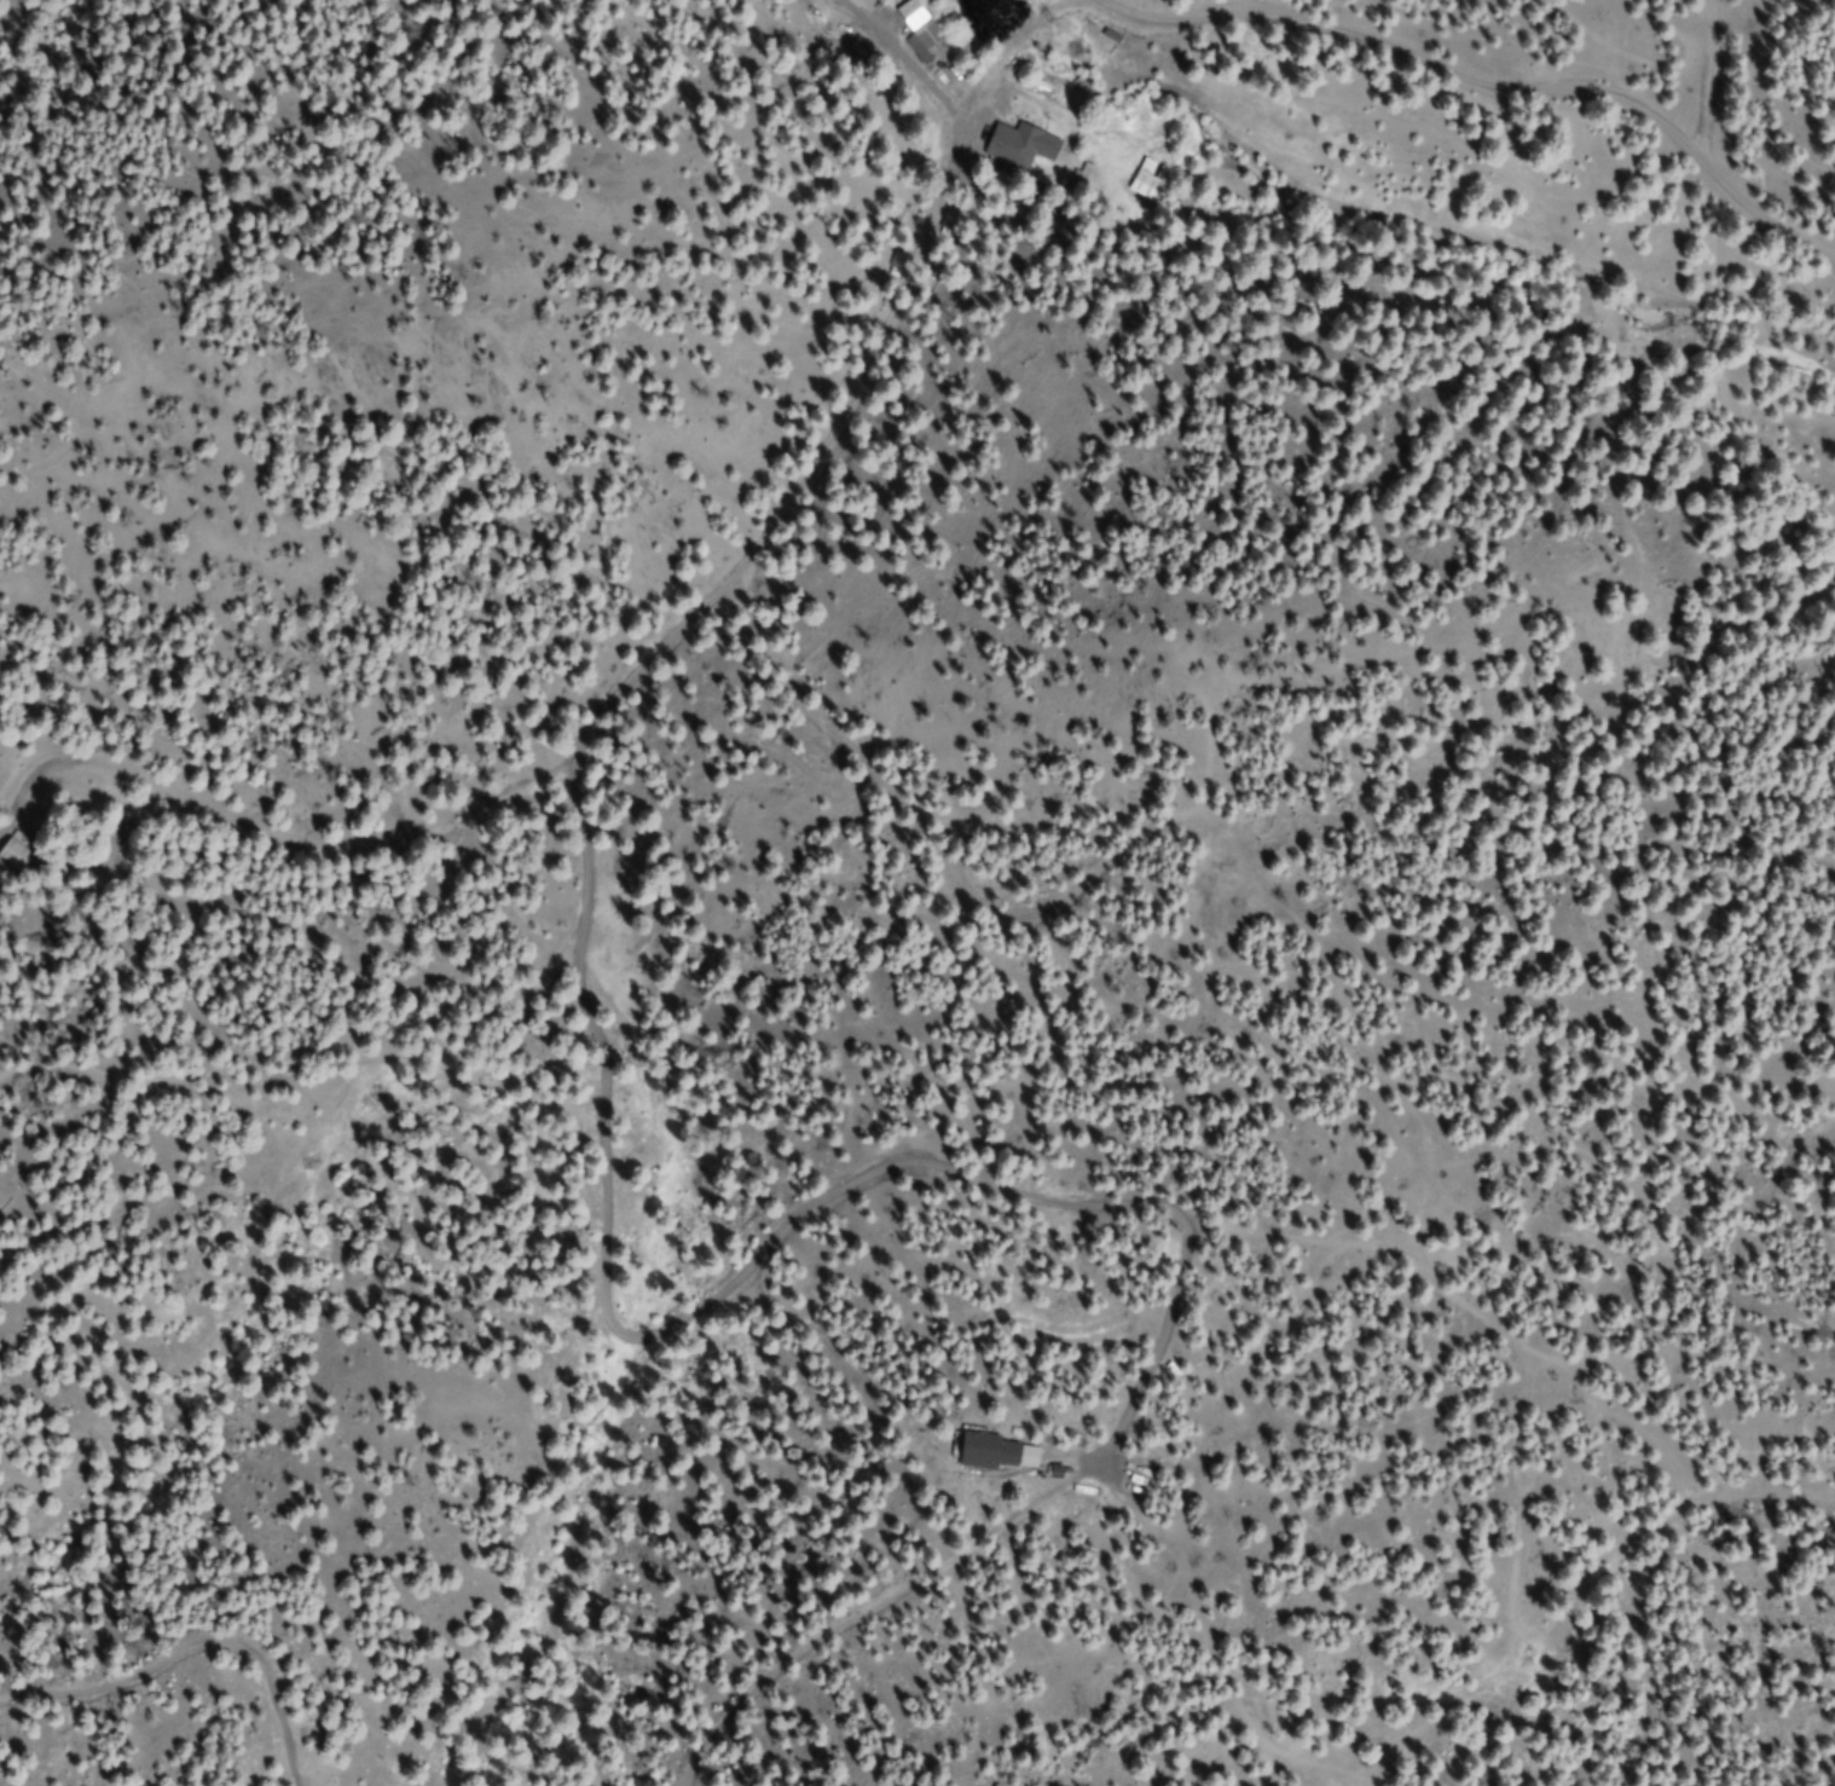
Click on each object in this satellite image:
building: (928, 35)
road: (1489, 104)
building: (1018, 154)
building: (16, 855)
building: (990, 1451)

